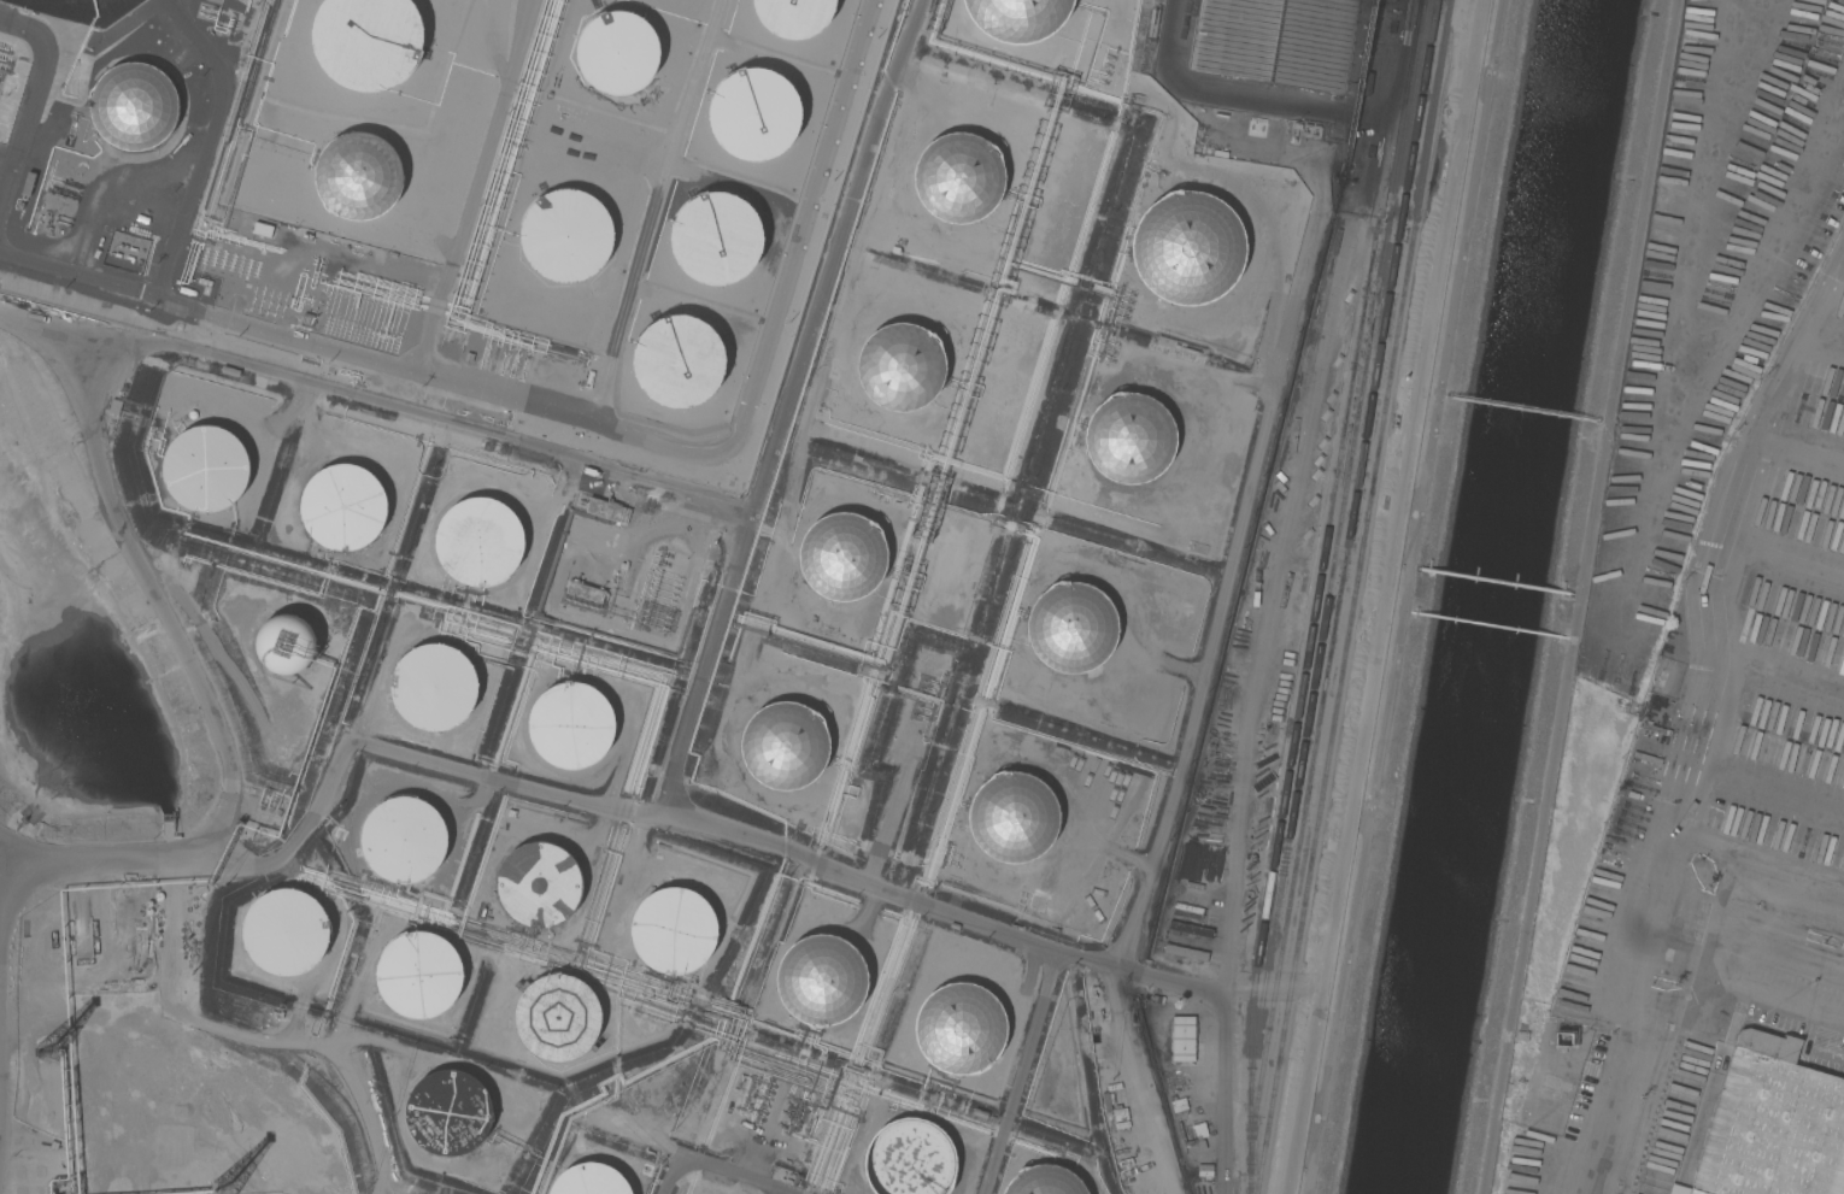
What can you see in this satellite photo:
building: (794, 16)
building: (1017, 18)
building: (1278, 41)
building: (369, 42)
building: (618, 52)
road: (1233, 94)
road: (29, 96)
building: (133, 106)
building: (756, 116)
road: (4, 172)
building: (360, 176)
building: (958, 177)
building: (262, 229)
building: (568, 234)
building: (713, 234)
building: (1187, 247)
road: (76, 275)
building: (677, 355)
building: (900, 366)
road: (516, 396)
road: (789, 407)
building: (1129, 437)
building: (204, 469)
railway: (1366, 487)
road: (1310, 490)
building: (346, 505)
building: (607, 510)
building: (480, 540)
road: (1739, 542)
railway: (1335, 552)
building: (842, 555)
railway: (1341, 586)
building: (585, 592)
railway: (1355, 596)
road: (1576, 596)
road: (166, 607)
building: (1070, 627)
building: (286, 645)
building: (1672, 648)
building: (430, 687)
railway: (1299, 712)
building: (571, 725)
building: (783, 745)
road: (1173, 790)
road: (600, 800)
building: (1011, 817)
building: (403, 840)
road: (1752, 855)
building: (538, 886)
road: (1632, 918)
building: (671, 929)
building: (286, 934)
road: (1739, 940)
building: (1843, 947)
building: (418, 975)
building: (821, 981)
road: (1770, 988)
building: (554, 1018)
building: (1723, 1027)
building: (957, 1029)
road: (8, 1031)
building: (1182, 1039)
building: (1596, 1040)
building: (1165, 1041)
building: (1561, 1042)
road: (1631, 1070)
road: (1022, 1071)
building: (447, 1112)
building: (1772, 1125)
building: (912, 1158)
road: (715, 1170)
building: (591, 1180)
building: (1044, 1181)

